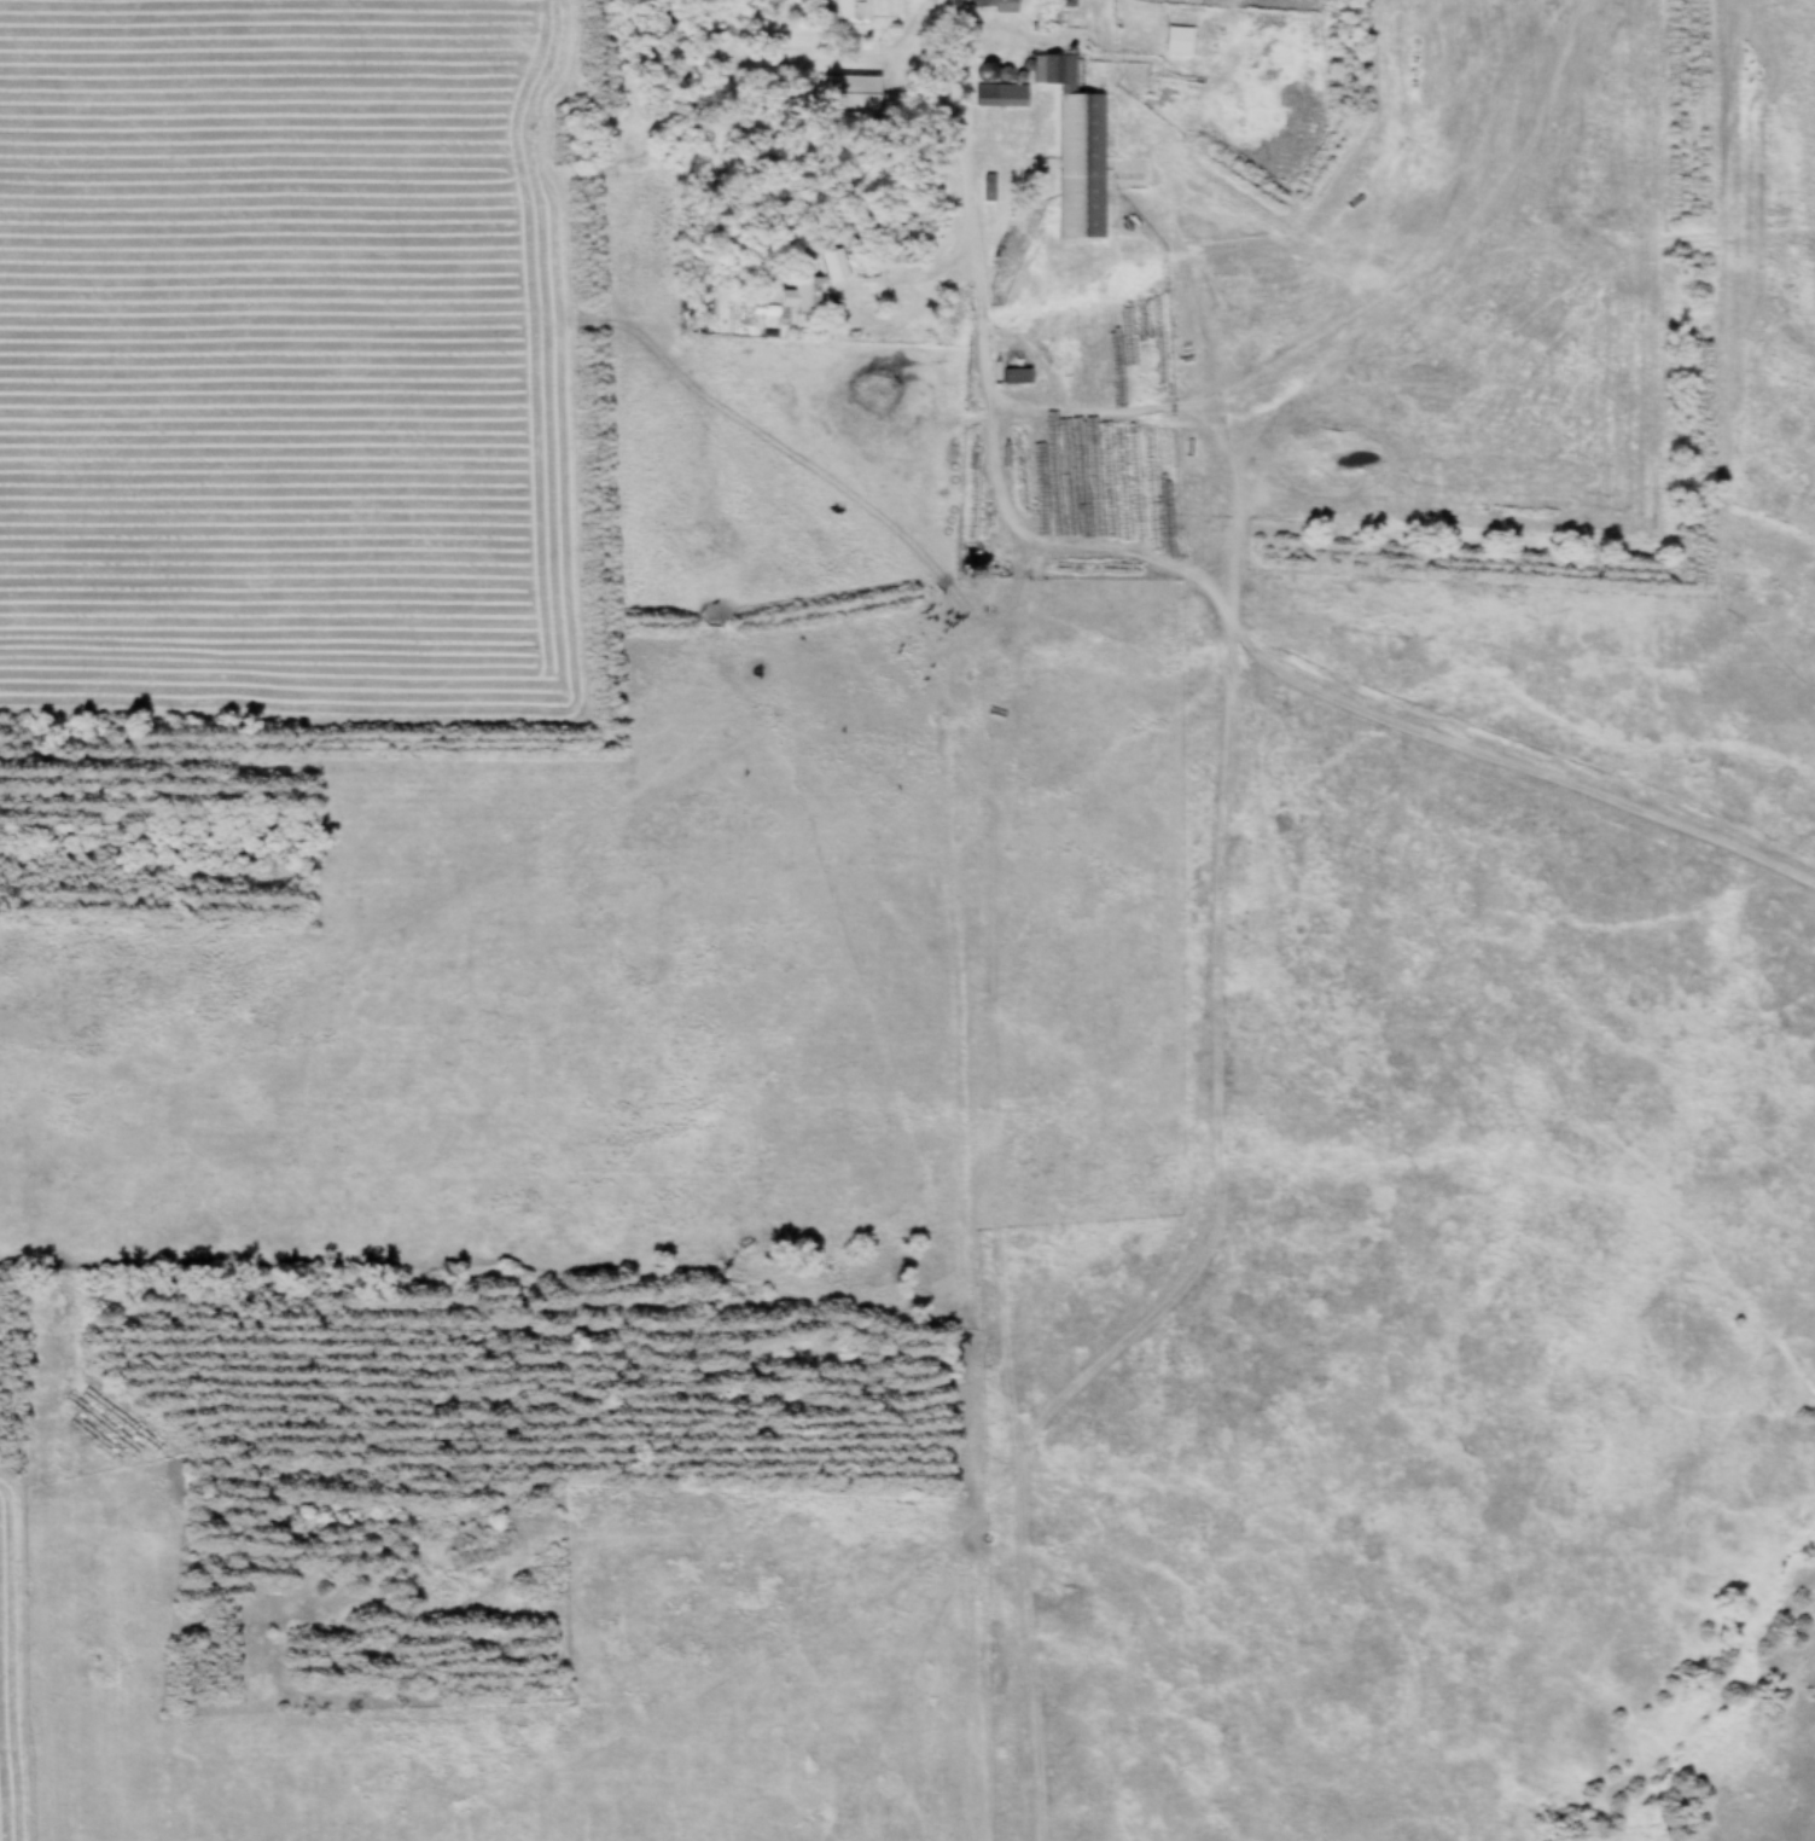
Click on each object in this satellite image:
building: (993, 5)
building: (849, 8)
building: (1176, 39)
building: (845, 91)
building: (999, 95)
road: (956, 118)
building: (1074, 149)
building: (831, 263)
building: (795, 296)
building: (1013, 374)

